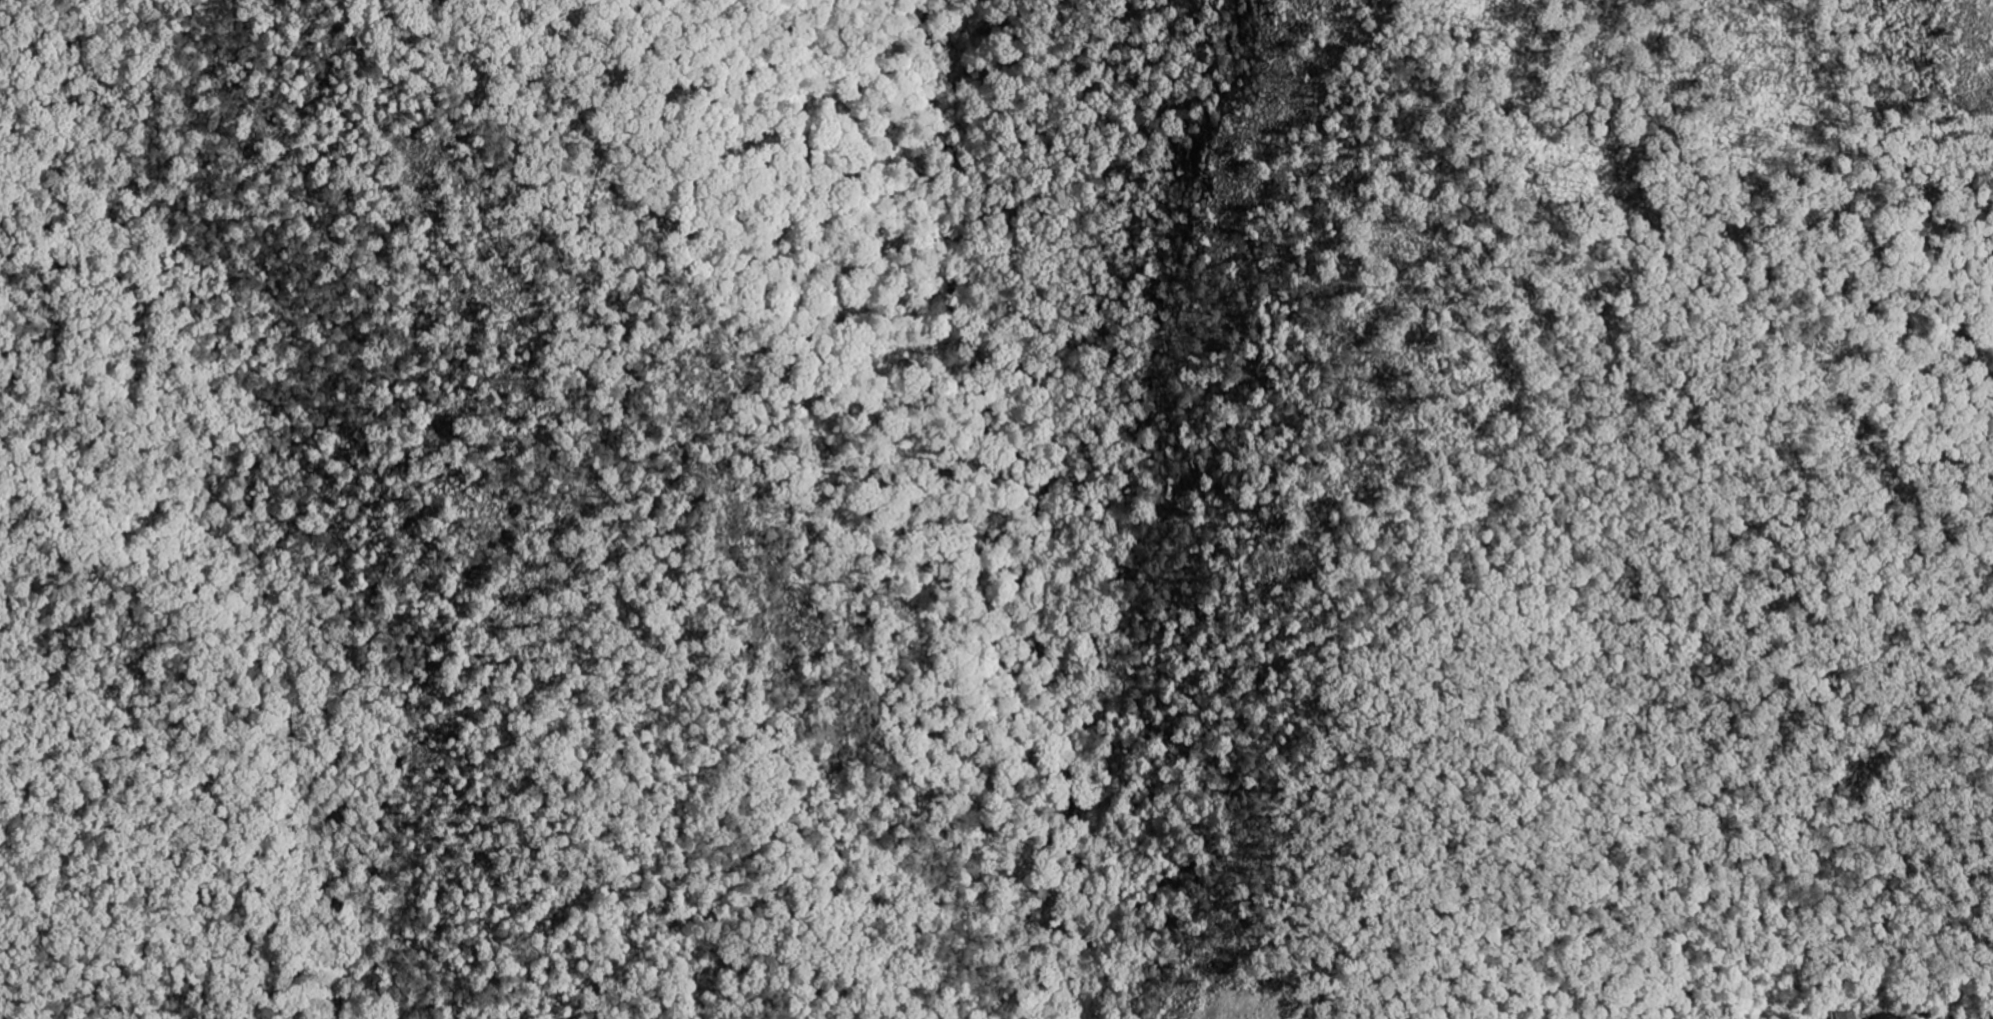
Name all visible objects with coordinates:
building: (1845, 1015)

